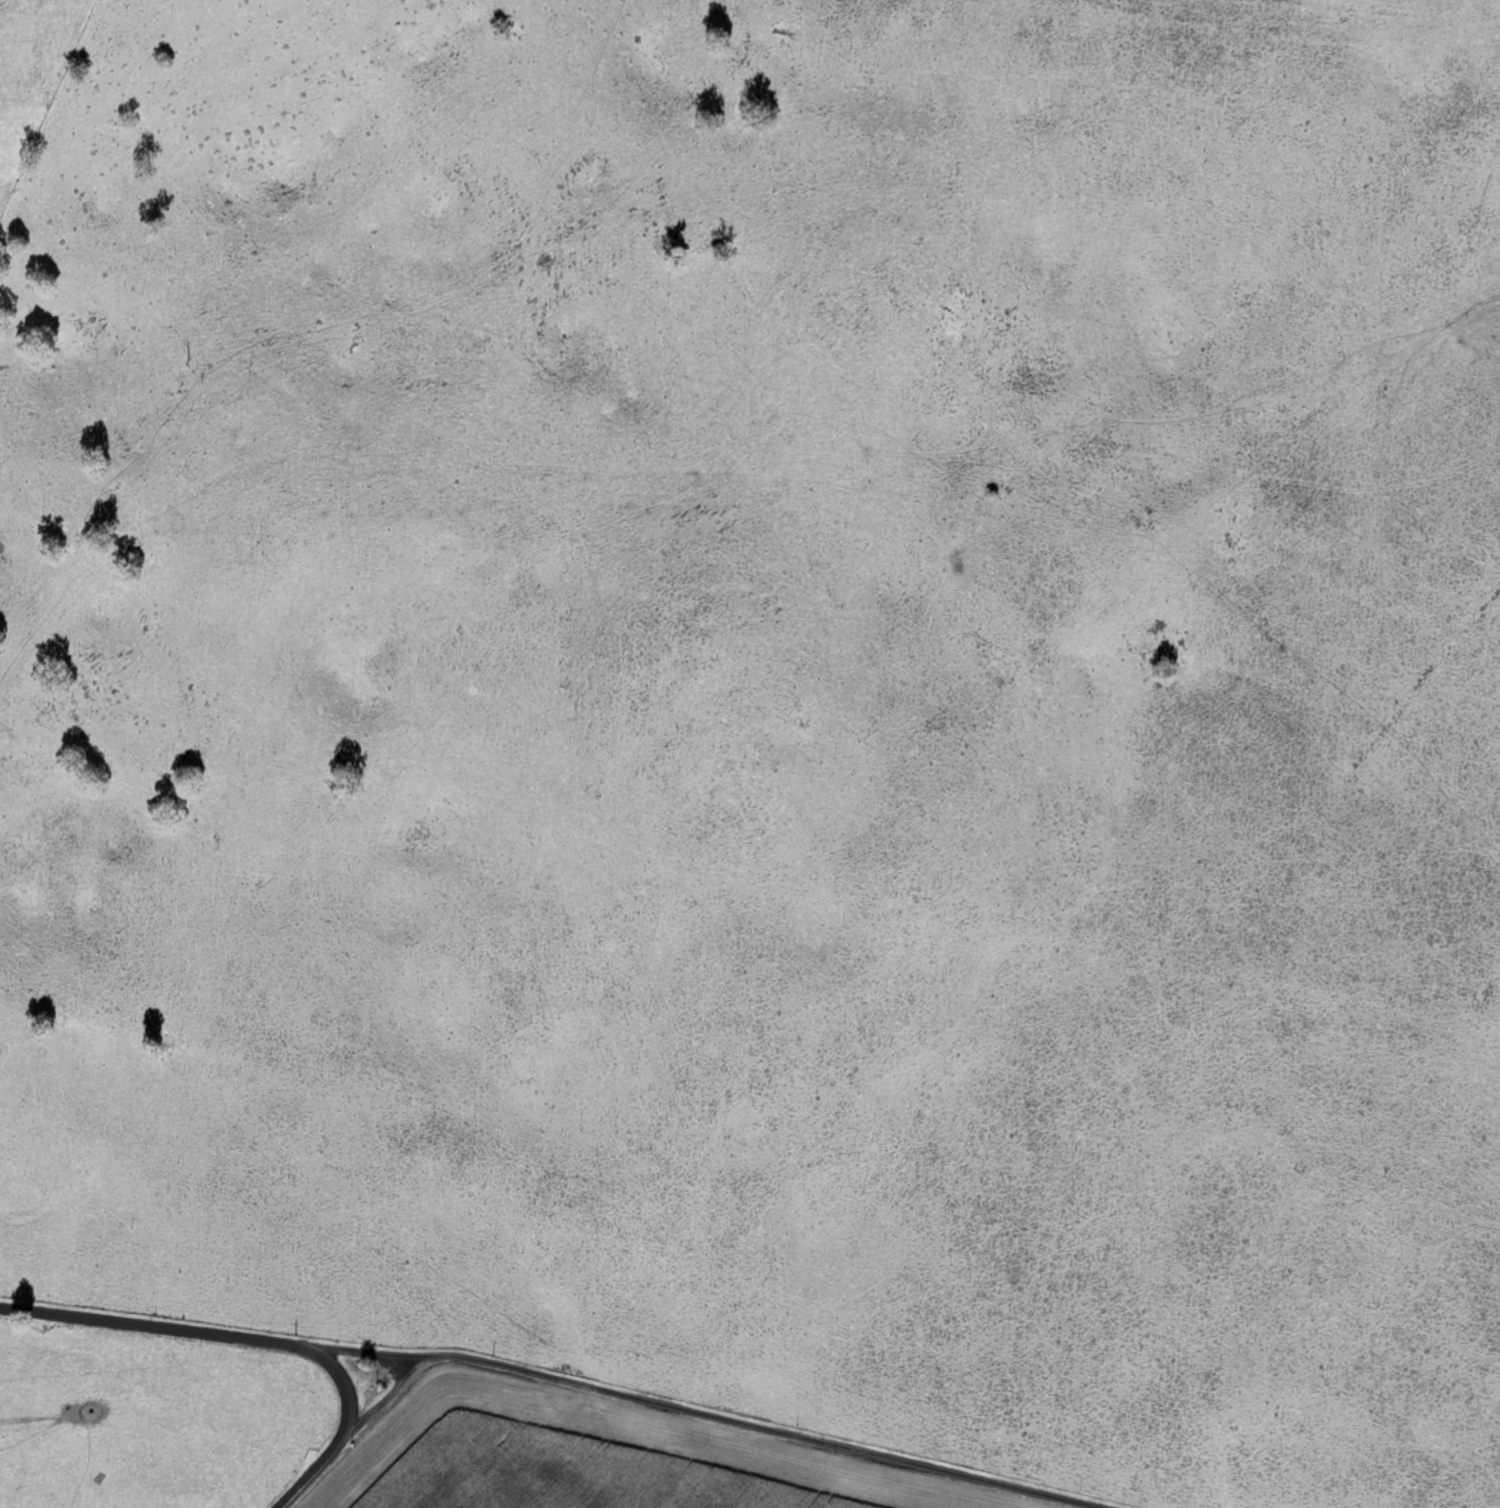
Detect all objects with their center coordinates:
road: (221, 1335)
road: (341, 1381)
road: (353, 1427)
road: (825, 1431)

